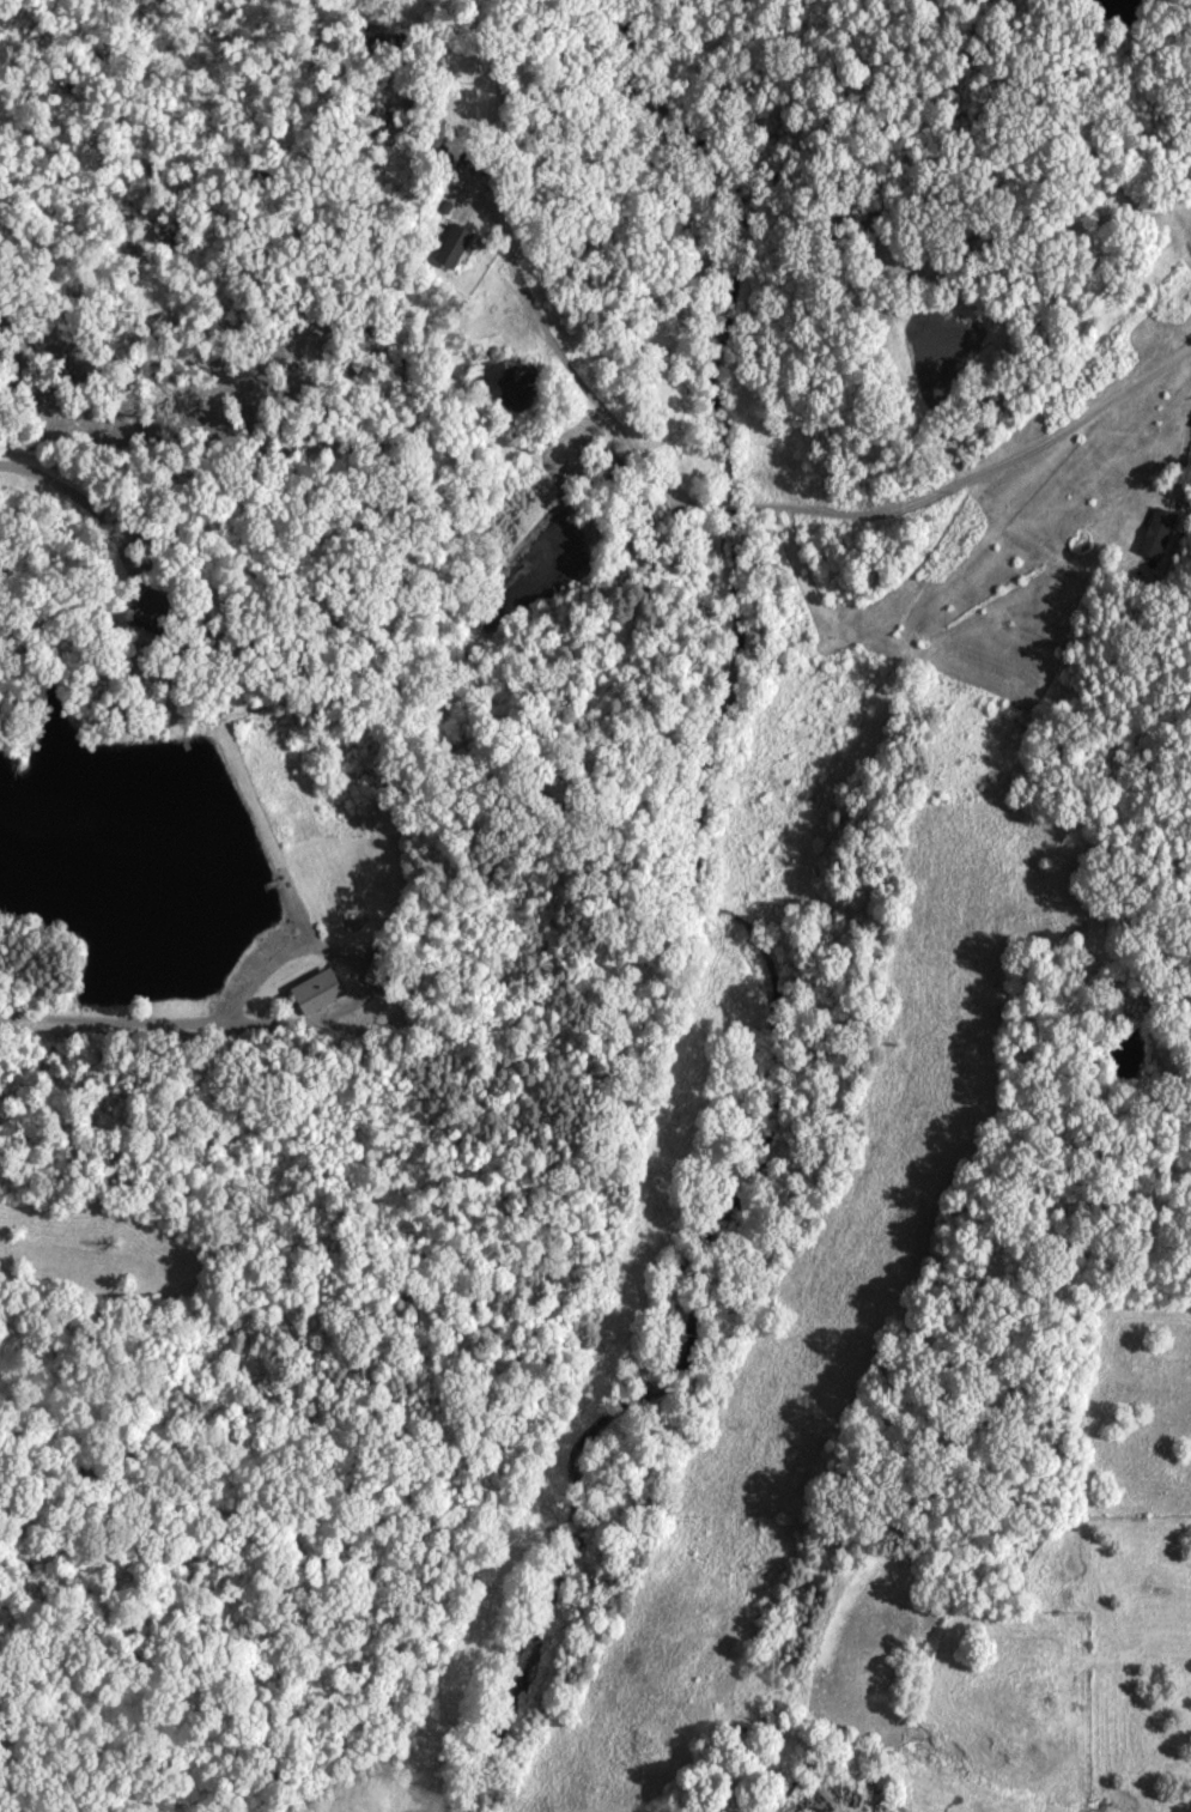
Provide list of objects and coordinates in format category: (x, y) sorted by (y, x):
building: (452, 252)
building: (1153, 538)
road: (358, 968)
building: (317, 995)
road: (111, 1022)

